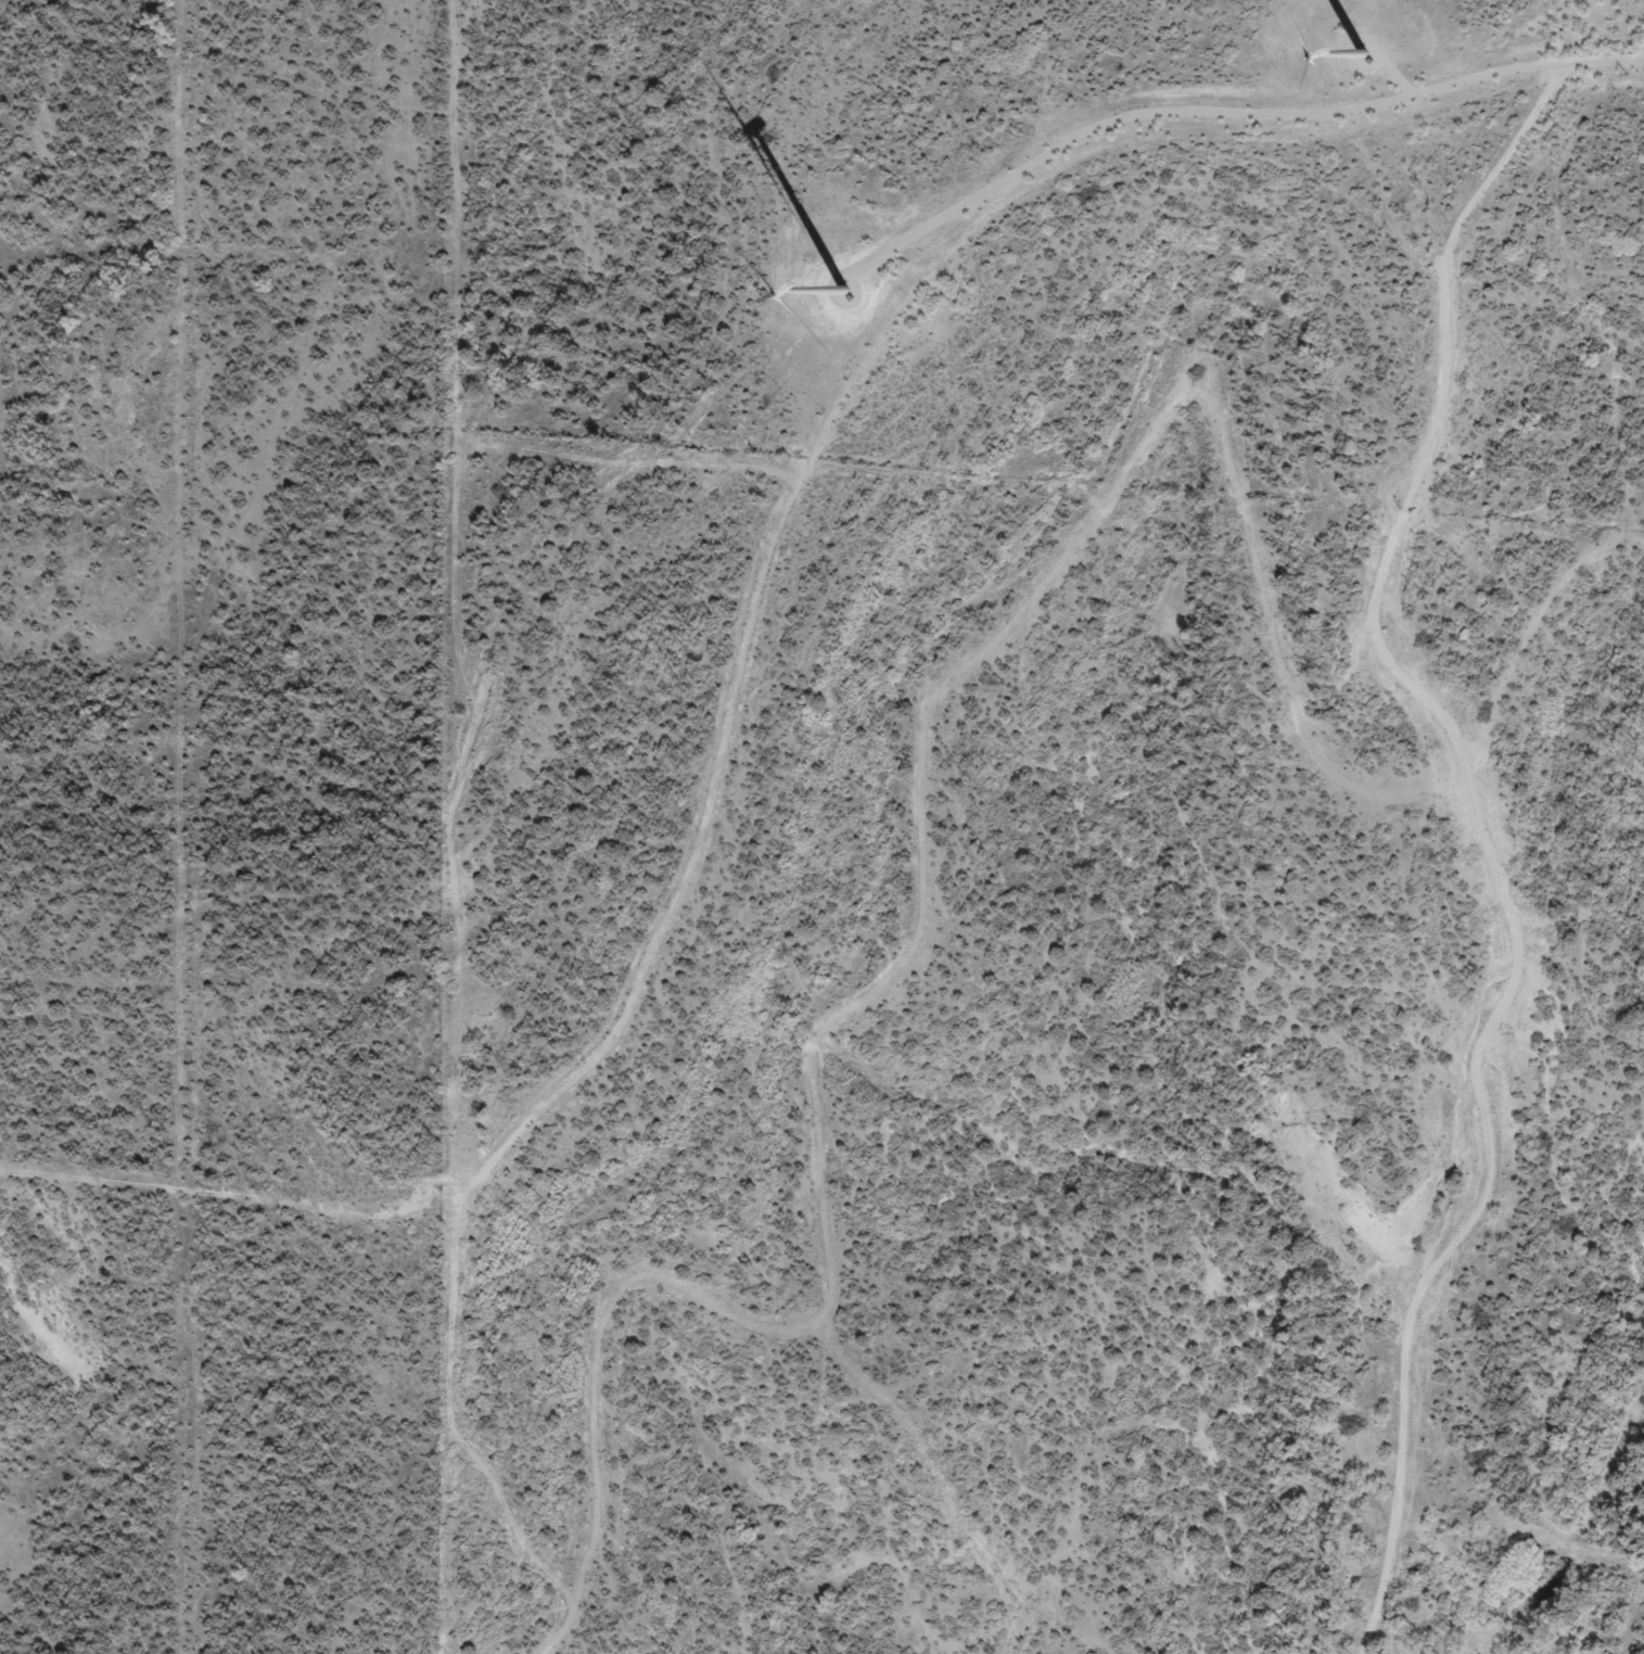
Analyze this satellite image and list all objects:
wind turbine: (1360, 54)
wind turbine: (842, 290)
road: (1491, 824)

